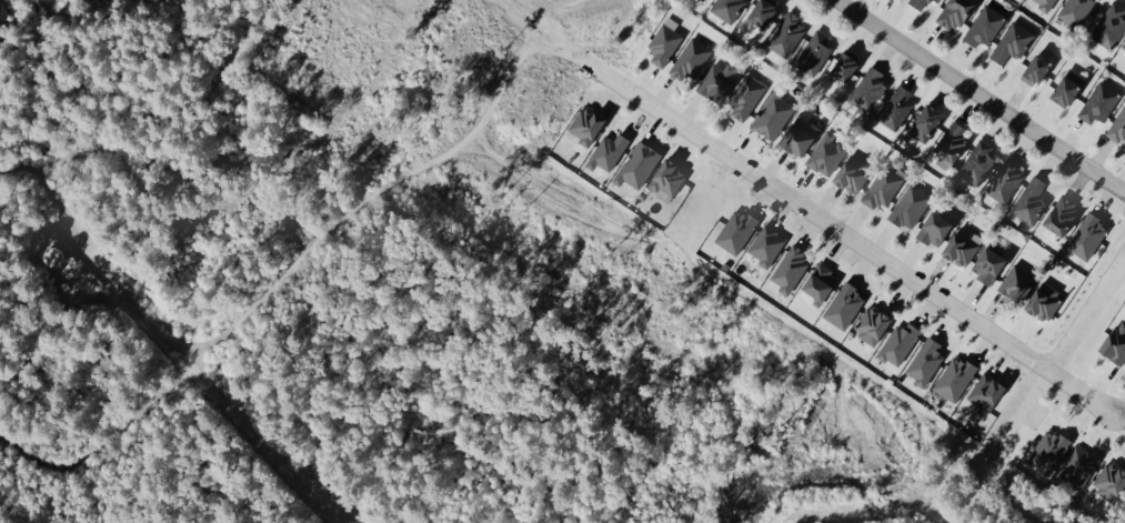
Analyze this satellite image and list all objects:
building: (934, 1)
building: (917, 3)
building: (1044, 3)
building: (726, 9)
building: (1075, 11)
building: (761, 12)
building: (953, 13)
building: (984, 24)
building: (1109, 24)
building: (786, 33)
building: (664, 41)
building: (1012, 42)
building: (1124, 46)
building: (813, 52)
building: (690, 59)
building: (843, 66)
building: (1035, 69)
building: (716, 80)
building: (1066, 86)
building: (867, 89)
building: (745, 95)
road: (984, 95)
building: (1098, 102)
building: (895, 107)
building: (773, 114)
building: (925, 121)
building: (585, 124)
building: (1117, 125)
building: (798, 134)
building: (950, 143)
building: (606, 151)
building: (825, 153)
building: (976, 162)
building: (636, 164)
building: (852, 173)
building: (666, 180)
building: (1005, 181)
building: (882, 187)
building: (1029, 200)
building: (910, 205)
building: (1061, 213)
building: (934, 228)
building: (735, 231)
road: (855, 232)
building: (1086, 235)
building: (765, 245)
building: (962, 245)
building: (987, 262)
building: (788, 269)
building: (1016, 282)
building: (818, 283)
building: (1044, 300)
road: (1087, 304)
building: (843, 305)
building: (872, 325)
building: (898, 343)
building: (1115, 343)
building: (925, 361)
building: (954, 378)
building: (984, 393)
building: (1047, 451)
building: (1077, 467)
building: (1109, 481)

